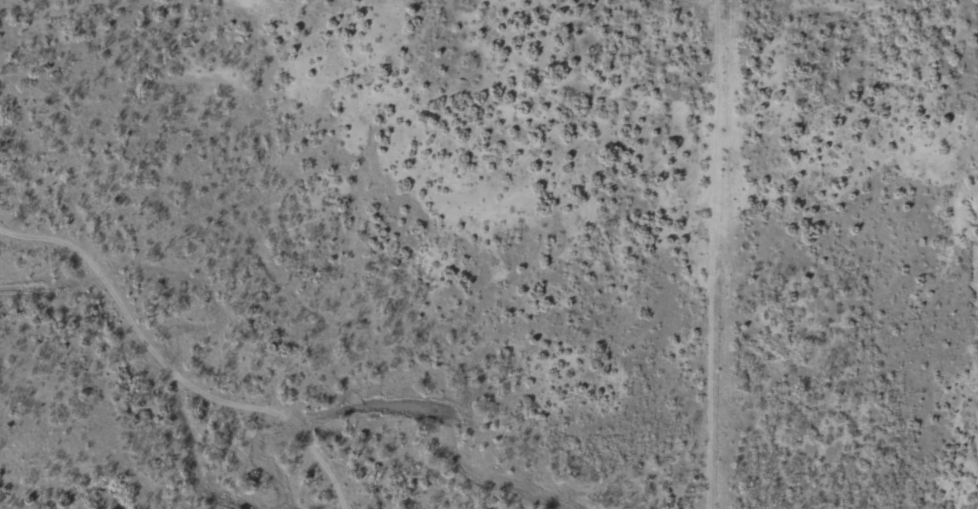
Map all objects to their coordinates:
road: (169, 381)

